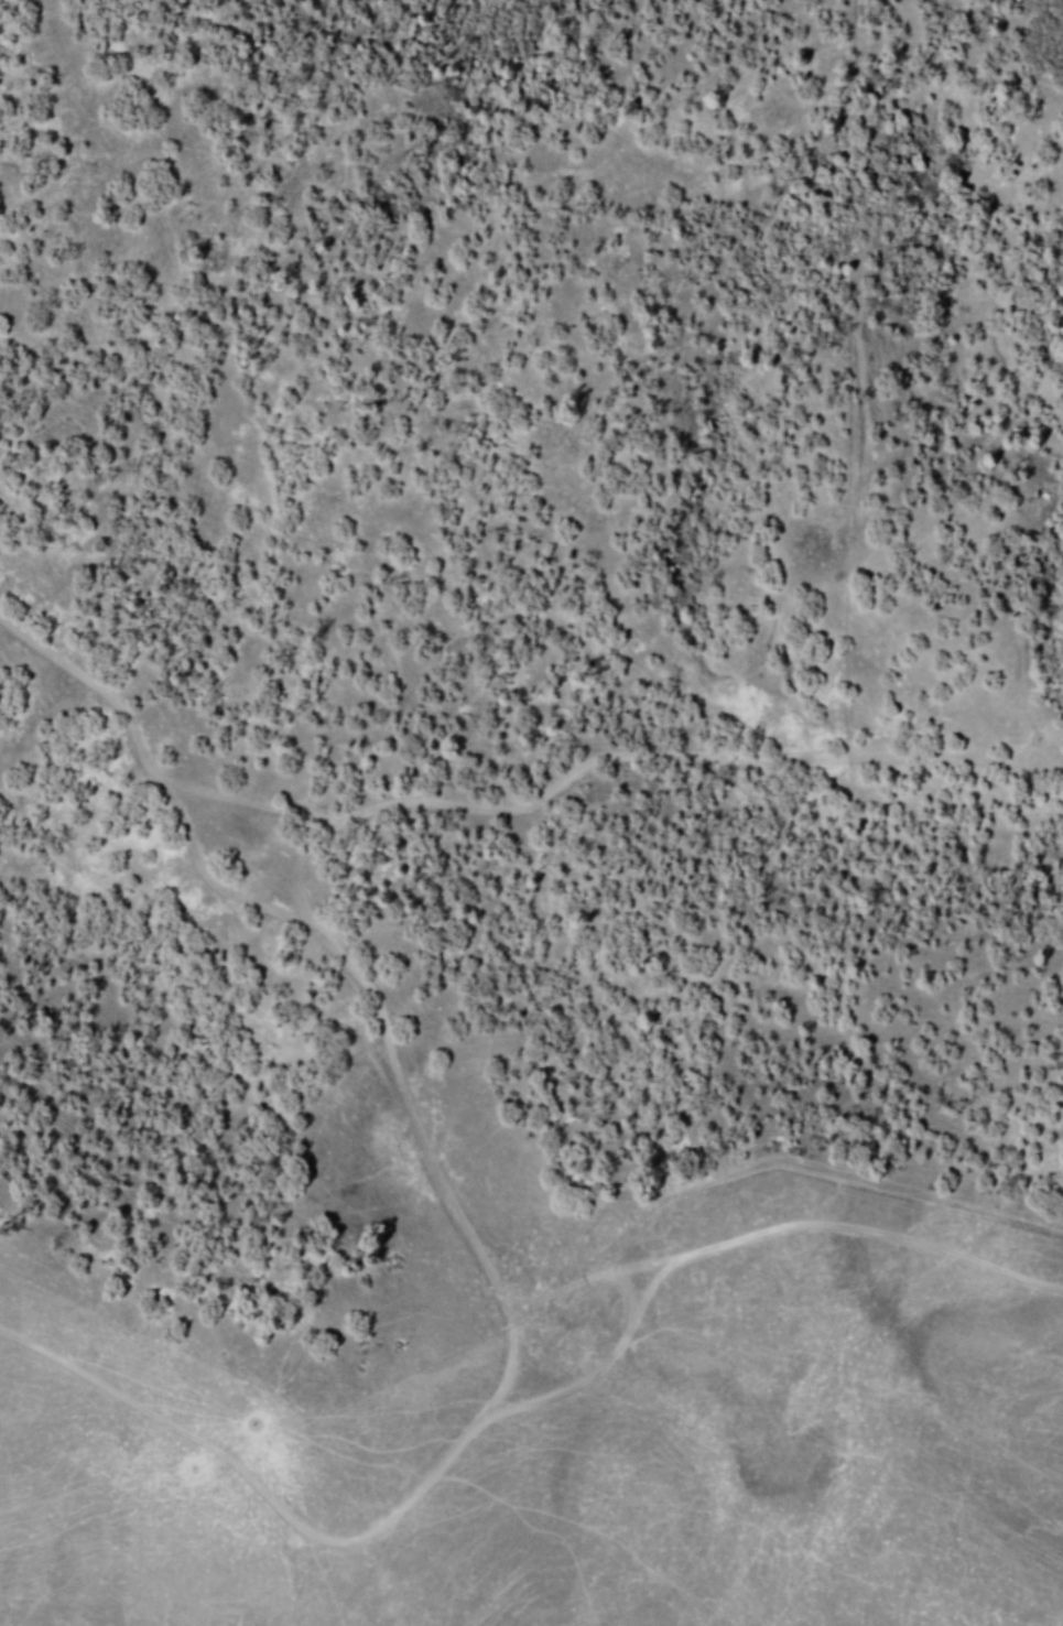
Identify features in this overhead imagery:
road: (387, 825)
road: (541, 1395)

